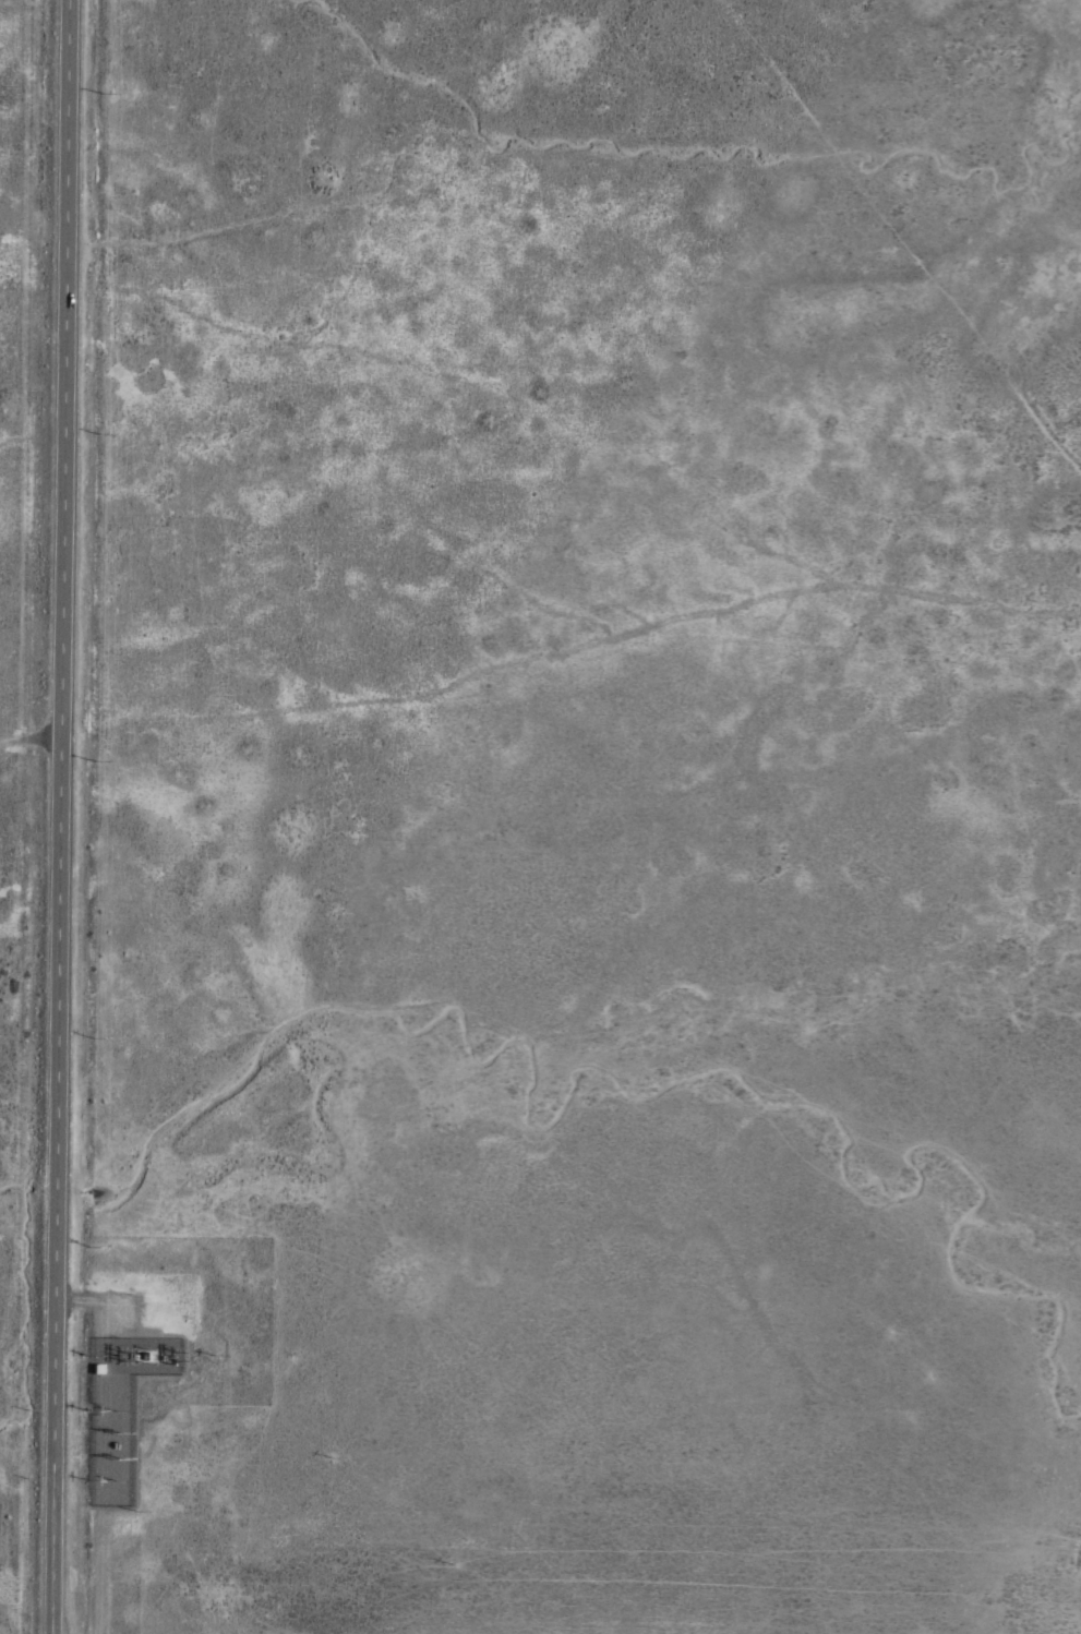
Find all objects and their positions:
road: (56, 816)
crop: (540, 817)

